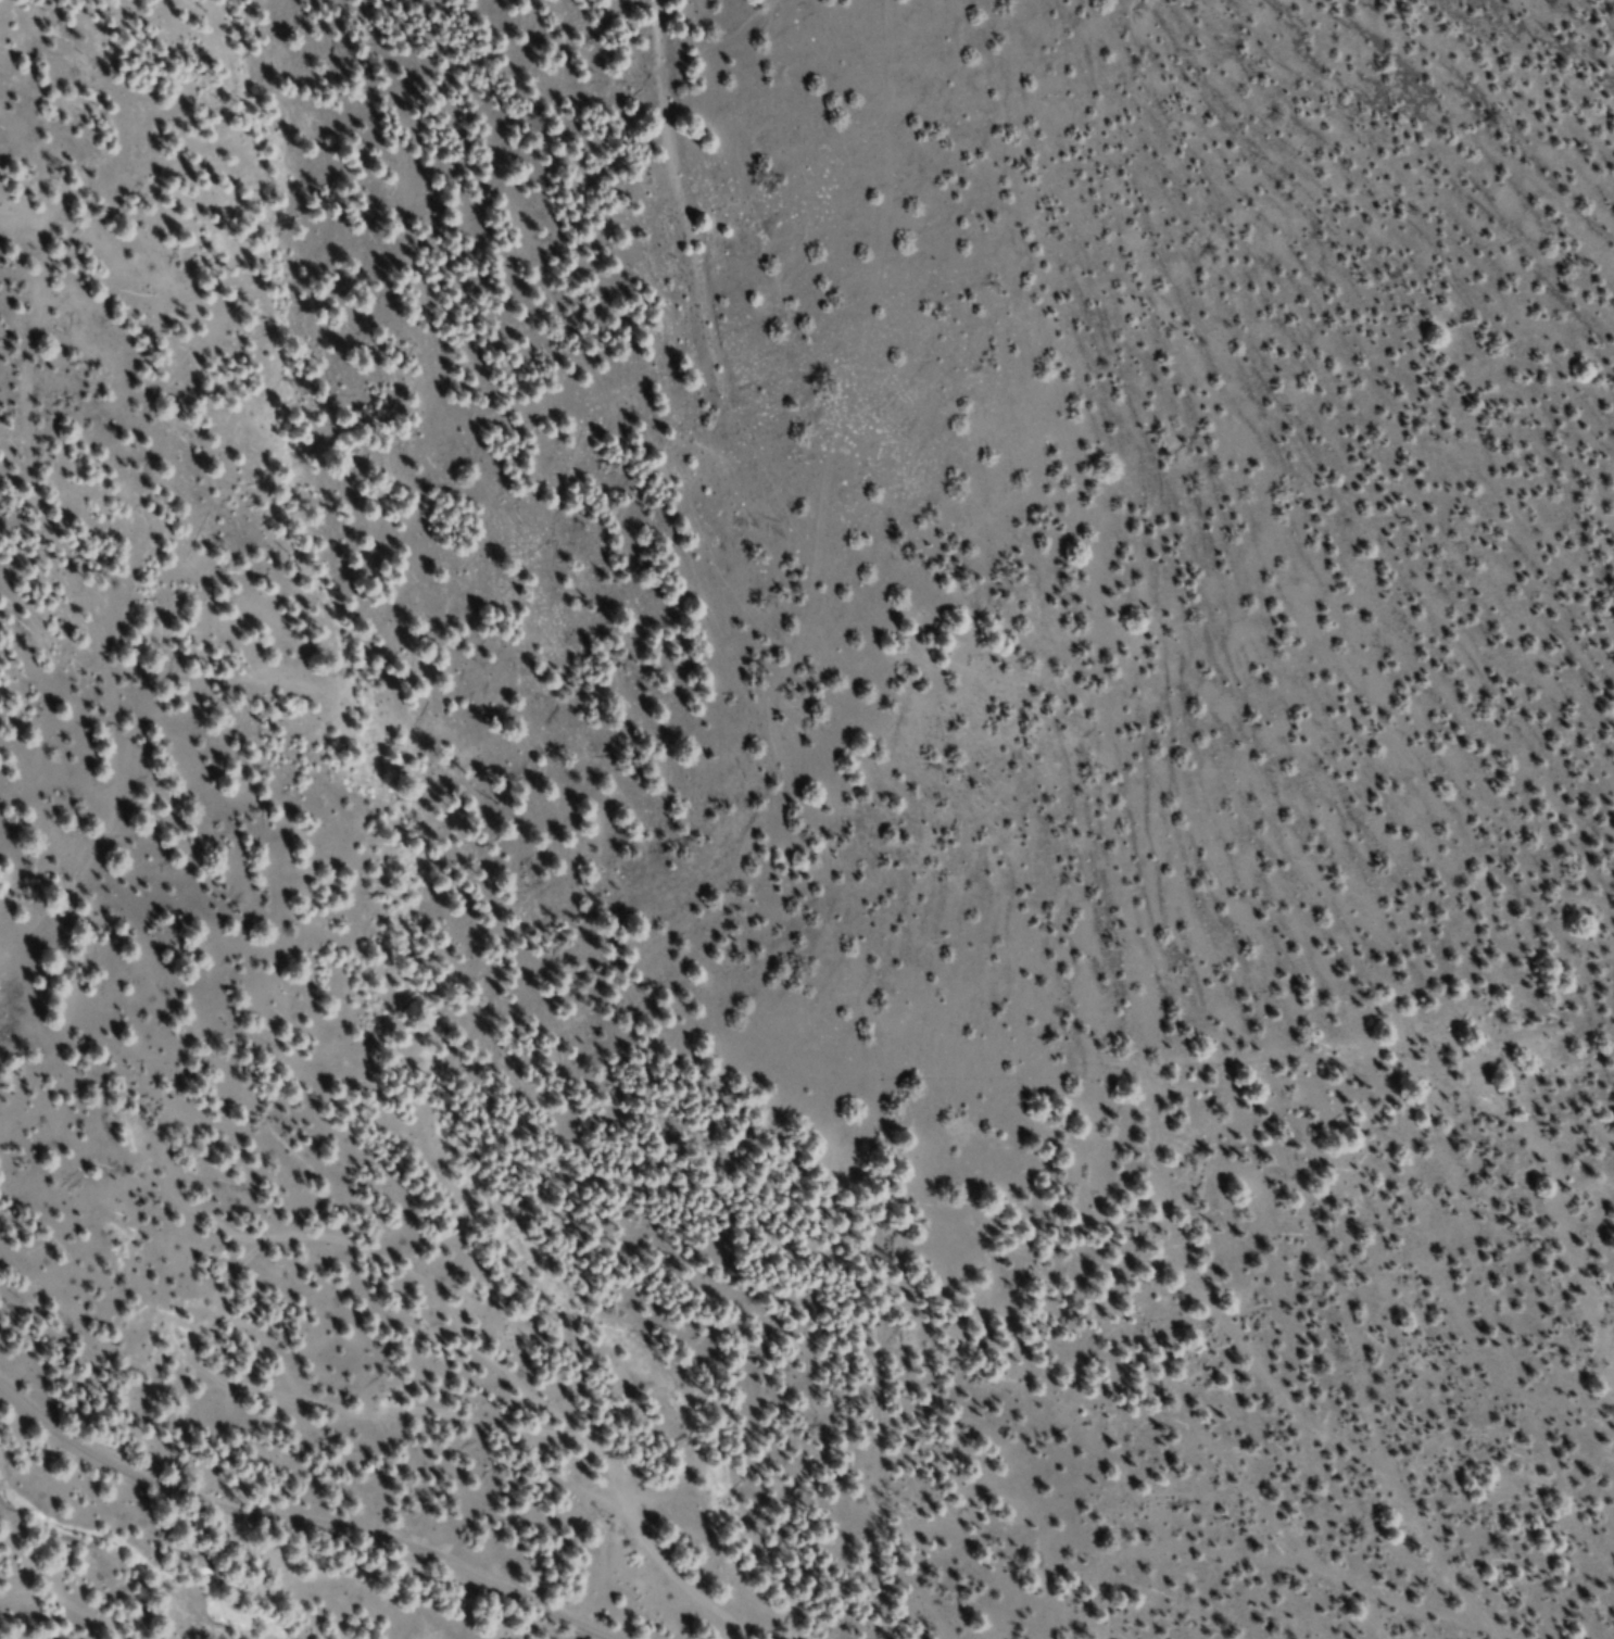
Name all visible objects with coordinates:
road: (273, 1536)

